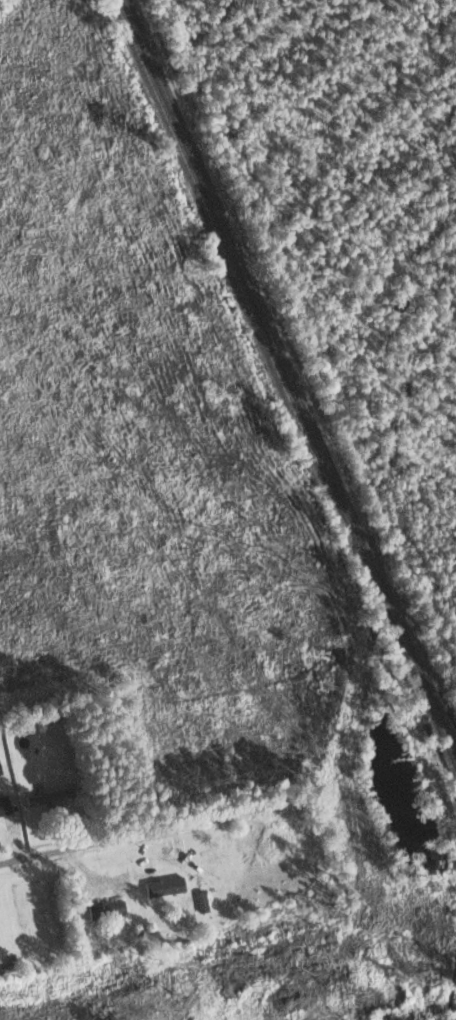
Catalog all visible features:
railway: (293, 379)
building: (1, 767)
building: (53, 794)
building: (6, 803)
road: (20, 861)
building: (168, 885)
building: (109, 909)

